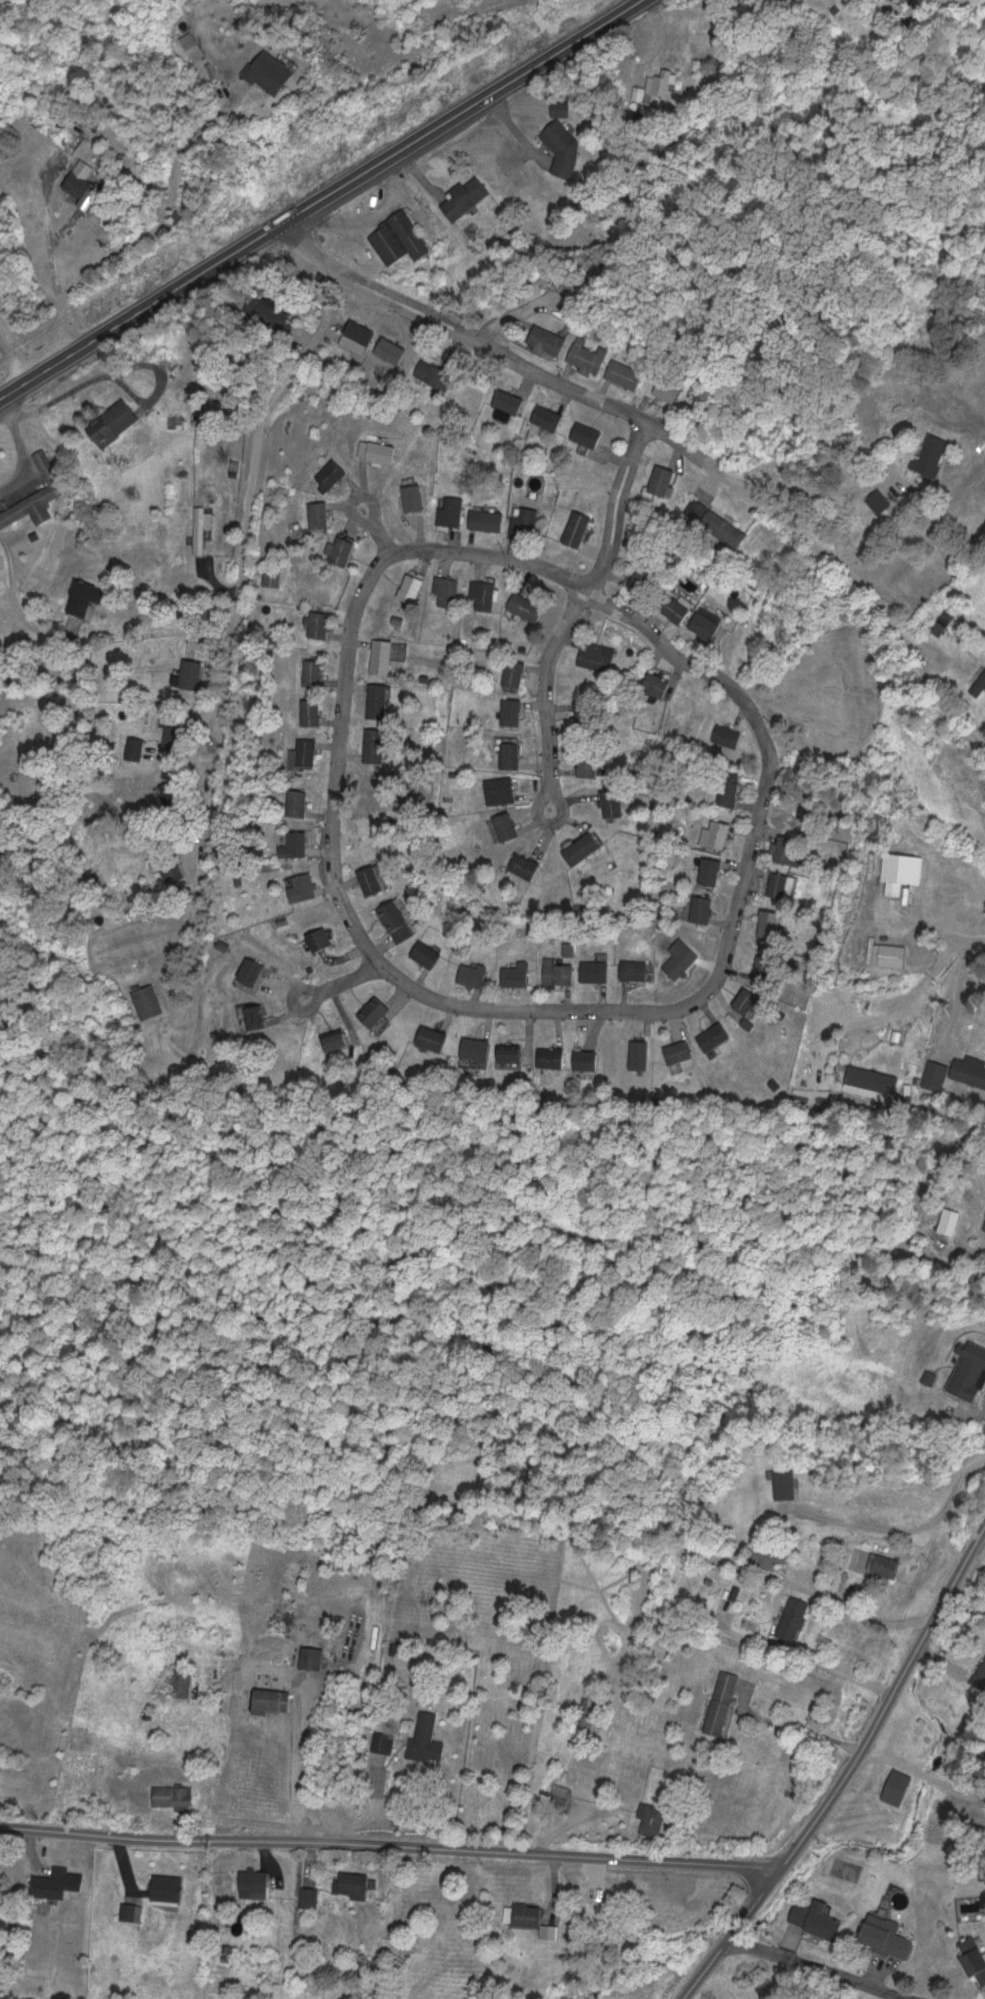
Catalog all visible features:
road: (407, 50)
building: (272, 70)
road: (362, 73)
building: (662, 82)
building: (561, 107)
building: (565, 145)
building: (83, 184)
road: (318, 197)
building: (465, 197)
road: (150, 234)
building: (399, 238)
road: (319, 251)
building: (572, 283)
building: (270, 307)
building: (358, 336)
building: (547, 341)
road: (16, 347)
building: (391, 352)
building: (588, 355)
building: (432, 372)
building: (624, 373)
road: (190, 374)
road: (546, 375)
building: (668, 388)
building: (509, 404)
building: (548, 417)
building: (113, 422)
building: (587, 433)
road: (20, 449)
building: (381, 451)
building: (932, 453)
building: (331, 474)
building: (663, 479)
building: (34, 495)
building: (414, 496)
building: (880, 500)
road: (609, 503)
building: (450, 511)
building: (319, 514)
building: (486, 519)
building: (525, 521)
road: (370, 527)
building: (576, 527)
building: (722, 527)
building: (200, 529)
building: (343, 550)
building: (643, 578)
building: (412, 587)
building: (447, 589)
building: (484, 593)
road: (599, 597)
building: (84, 598)
road: (873, 599)
road: (16, 603)
building: (527, 606)
road: (235, 609)
building: (677, 609)
building: (944, 622)
building: (319, 623)
building: (709, 624)
building: (382, 655)
building: (598, 656)
building: (313, 672)
building: (191, 674)
building: (514, 674)
building: (657, 684)
building: (980, 686)
road: (542, 691)
building: (379, 700)
building: (312, 711)
building: (583, 711)
building: (512, 712)
building: (726, 735)
building: (375, 745)
building: (134, 748)
building: (305, 753)
building: (511, 755)
building: (588, 765)
building: (499, 790)
building: (730, 792)
building: (299, 803)
building: (614, 803)
building: (506, 826)
building: (716, 834)
building: (298, 845)
building: (582, 849)
building: (790, 850)
building: (525, 865)
building: (169, 869)
building: (710, 872)
building: (373, 881)
building: (781, 886)
building: (304, 888)
building: (703, 909)
building: (398, 921)
building: (771, 923)
road: (956, 935)
building: (322, 939)
road: (956, 950)
building: (428, 954)
building: (890, 954)
building: (681, 958)
road: (984, 958)
building: (766, 968)
building: (634, 970)
building: (596, 971)
building: (254, 972)
building: (558, 972)
building: (475, 974)
building: (519, 974)
road: (340, 976)
building: (750, 1000)
building: (148, 1001)
building: (375, 1011)
building: (253, 1017)
building: (716, 1036)
building: (433, 1038)
building: (337, 1040)
building: (477, 1049)
building: (680, 1051)
building: (639, 1054)
building: (513, 1055)
building: (552, 1057)
building: (587, 1060)
building: (968, 1071)
building: (869, 1073)
building: (950, 1221)
building: (969, 1372)
building: (786, 1484)
road: (978, 1544)
building: (769, 1554)
building: (885, 1564)
building: (792, 1619)
building: (312, 1656)
building: (979, 1675)
building: (183, 1680)
building: (271, 1698)
building: (721, 1702)
building: (588, 1711)
road: (866, 1733)
building: (426, 1738)
building: (382, 1740)
road: (919, 1775)
building: (173, 1795)
building: (559, 1795)
building: (653, 1817)
road: (389, 1843)
building: (57, 1882)
building: (352, 1882)
building: (255, 1883)
building: (168, 1887)
building: (309, 1896)
building: (528, 1913)
building: (817, 1918)
building: (886, 1937)
building: (974, 1957)
road: (821, 1966)
road: (703, 1968)

